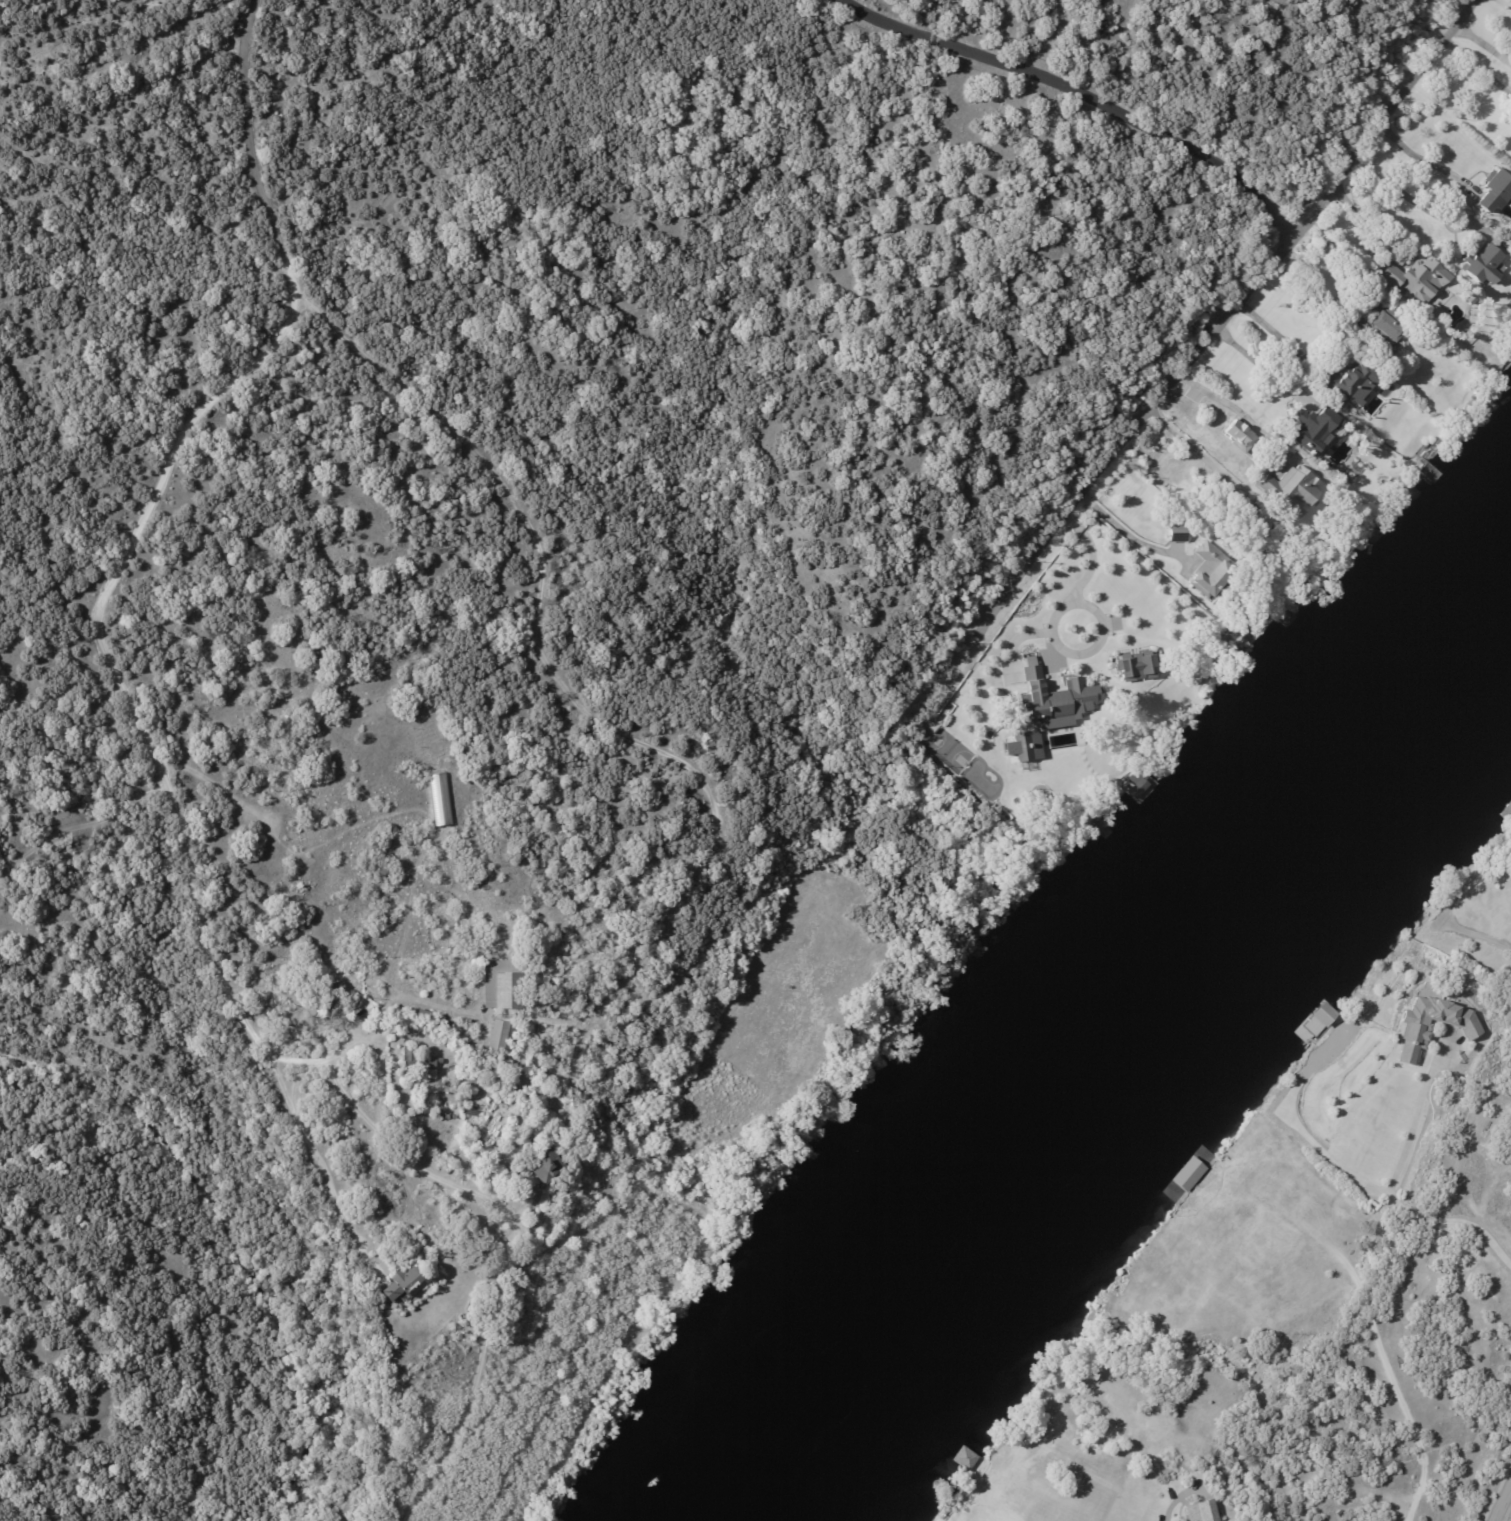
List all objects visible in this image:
road: (1477, 66)
road: (1087, 95)
road: (1419, 159)
building: (1494, 190)
road: (1426, 208)
building: (1485, 265)
building: (1417, 280)
building: (1473, 300)
building: (1357, 324)
building: (1389, 325)
road: (1275, 334)
road: (1190, 362)
road: (1253, 365)
building: (1349, 380)
road: (1241, 407)
building: (1315, 431)
road: (1192, 447)
building: (1291, 487)
building: (1240, 503)
building: (1180, 534)
building: (1260, 536)
building: (1212, 573)
road: (98, 615)
road: (1102, 621)
road: (546, 656)
building: (1135, 666)
building: (1055, 699)
building: (1025, 746)
building: (1067, 755)
building: (984, 767)
building: (1136, 787)
building: (439, 799)
building: (1100, 825)
building: (502, 985)
building: (333, 989)
building: (1322, 1013)
building: (425, 1016)
building: (1415, 1030)
building: (502, 1037)
building: (418, 1060)
river: (1134, 1069)
building: (493, 1074)
building: (441, 1083)
building: (512, 1086)
building: (575, 1106)
road: (379, 1133)
building: (544, 1168)
road: (1388, 1183)
building: (405, 1284)
building: (965, 1458)
road: (1503, 1505)
building: (1204, 1513)

